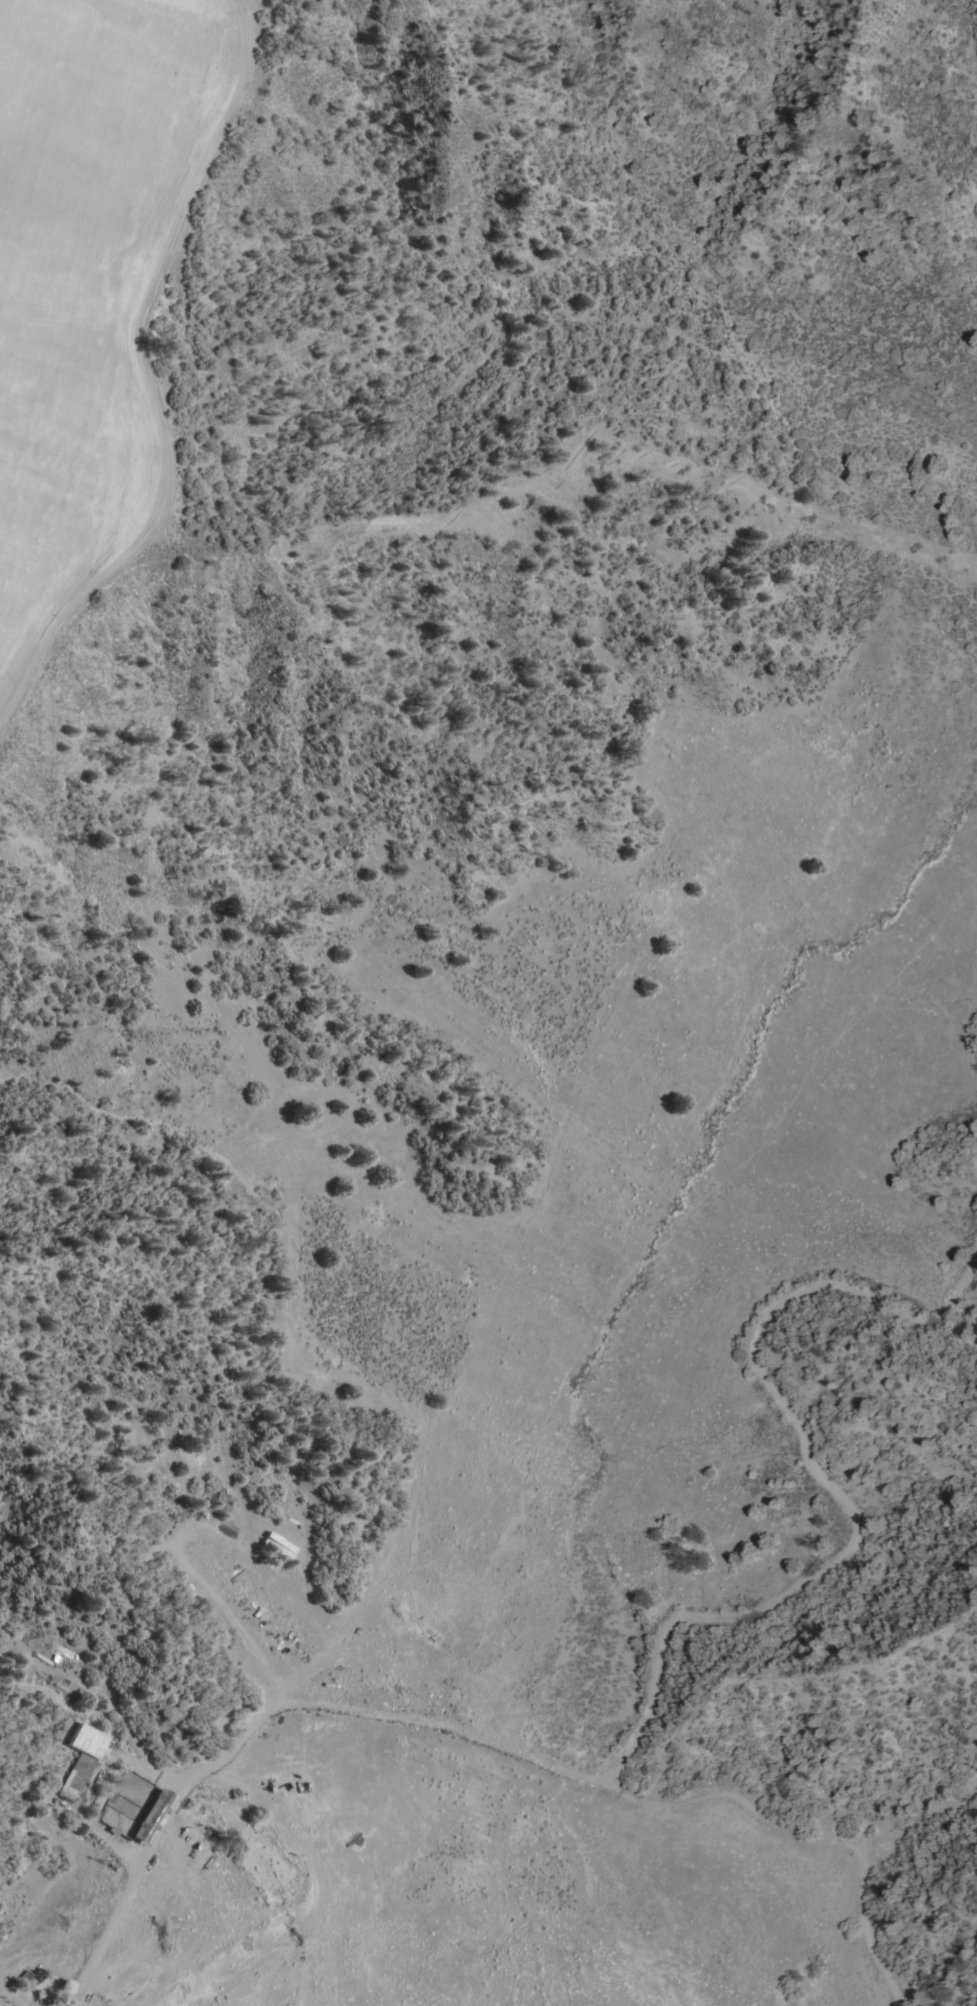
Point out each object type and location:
building: (89, 1740)
building: (76, 1776)
building: (155, 1816)

